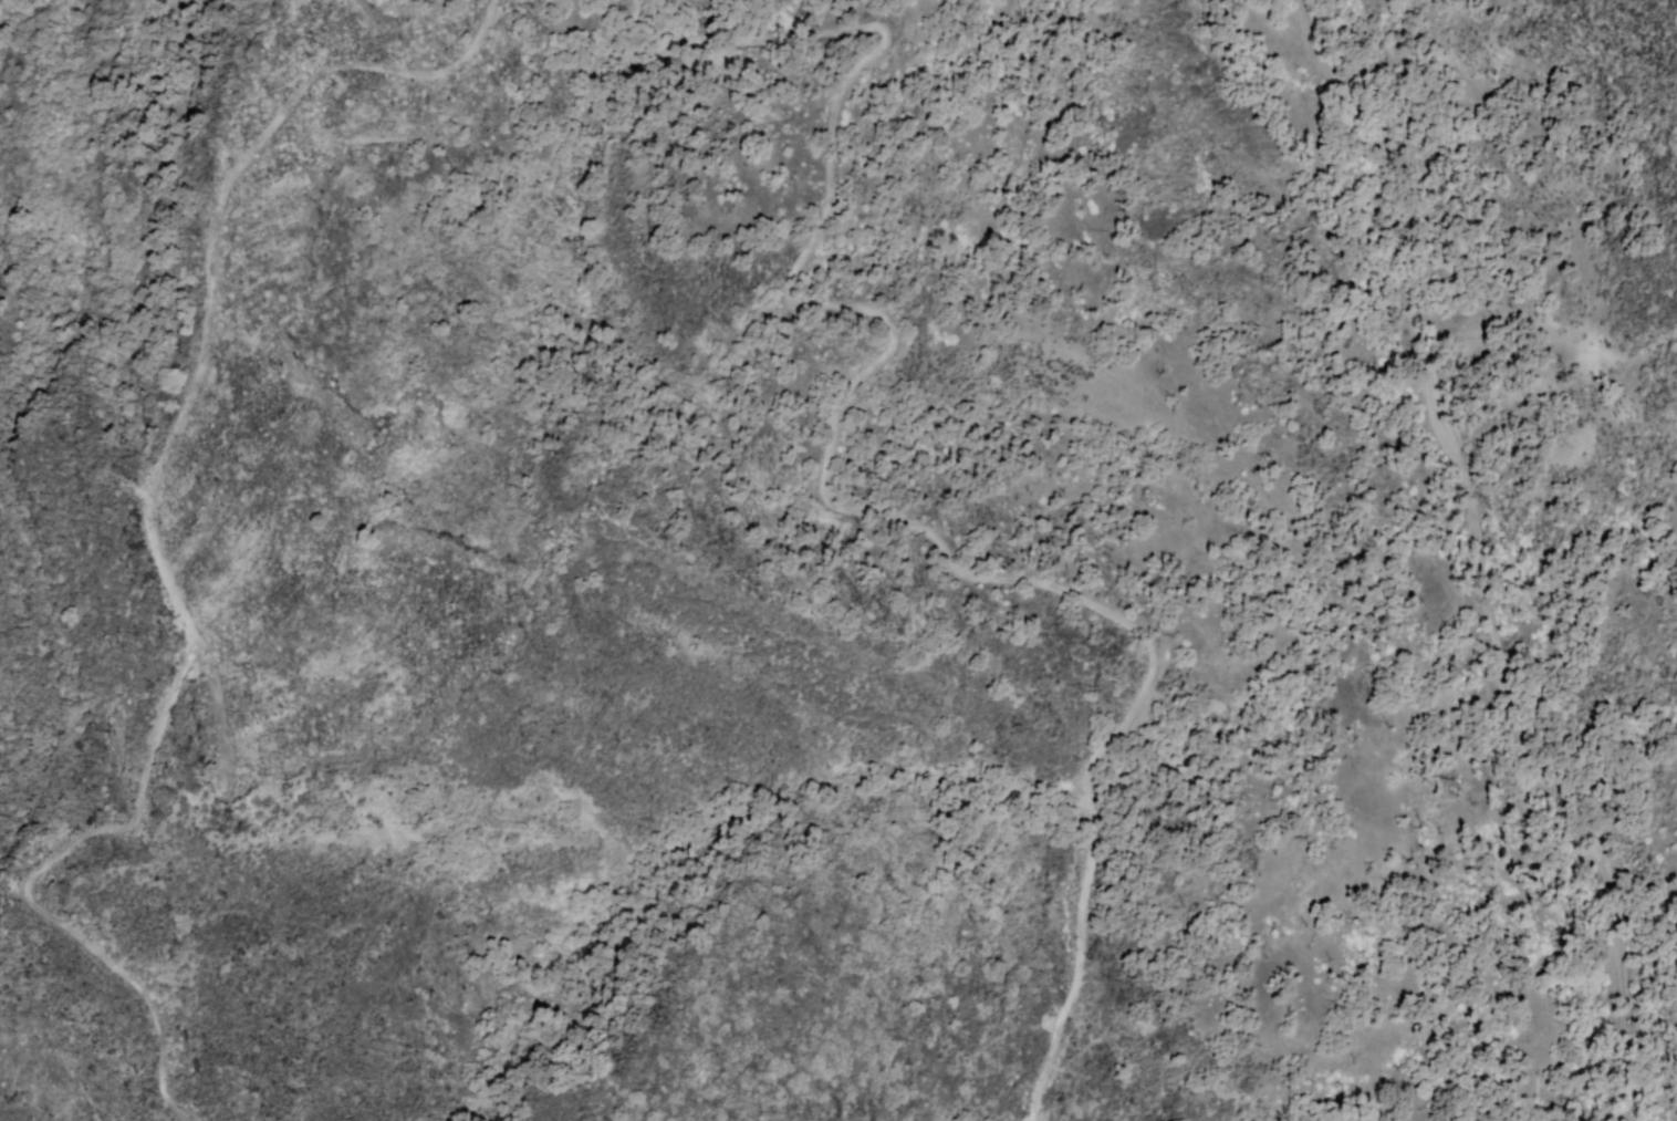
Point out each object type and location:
road: (1464, 558)

